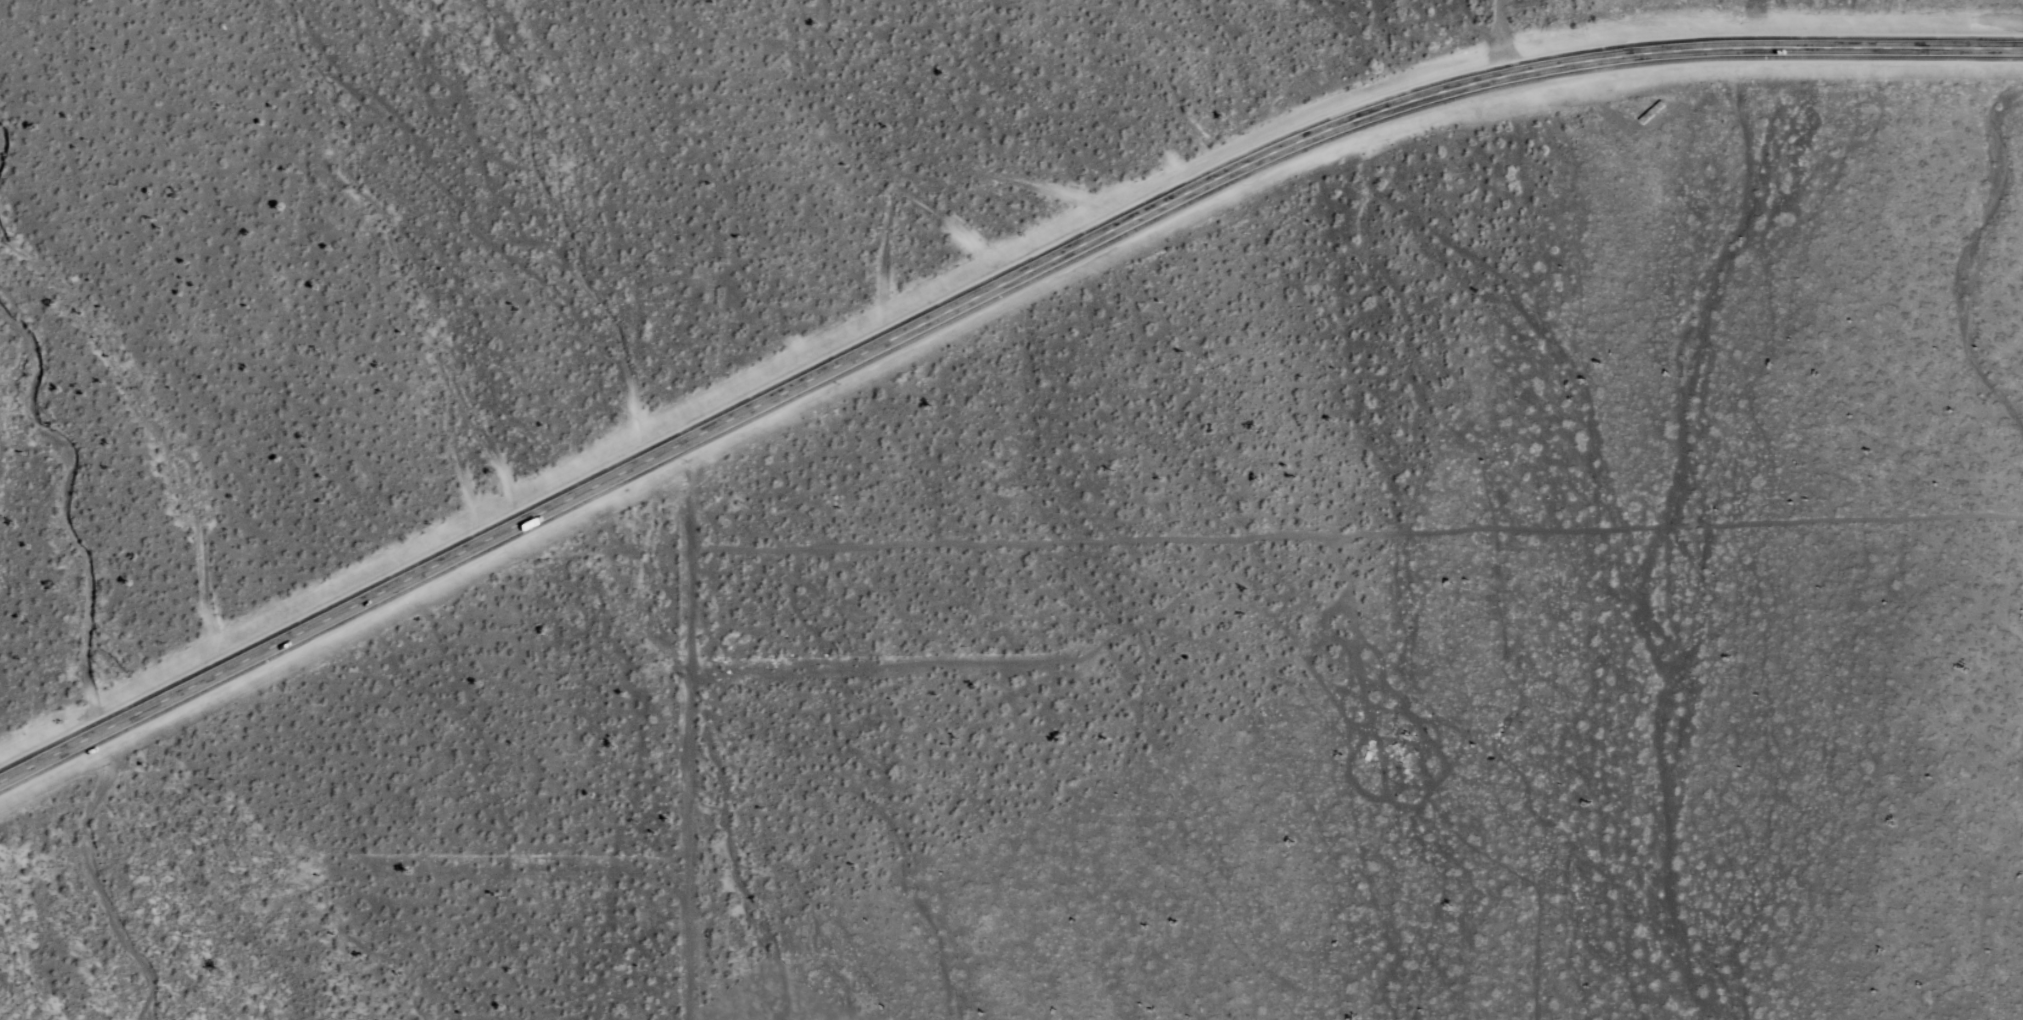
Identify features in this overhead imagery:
road: (1494, 38)
road: (978, 294)
road: (689, 727)

